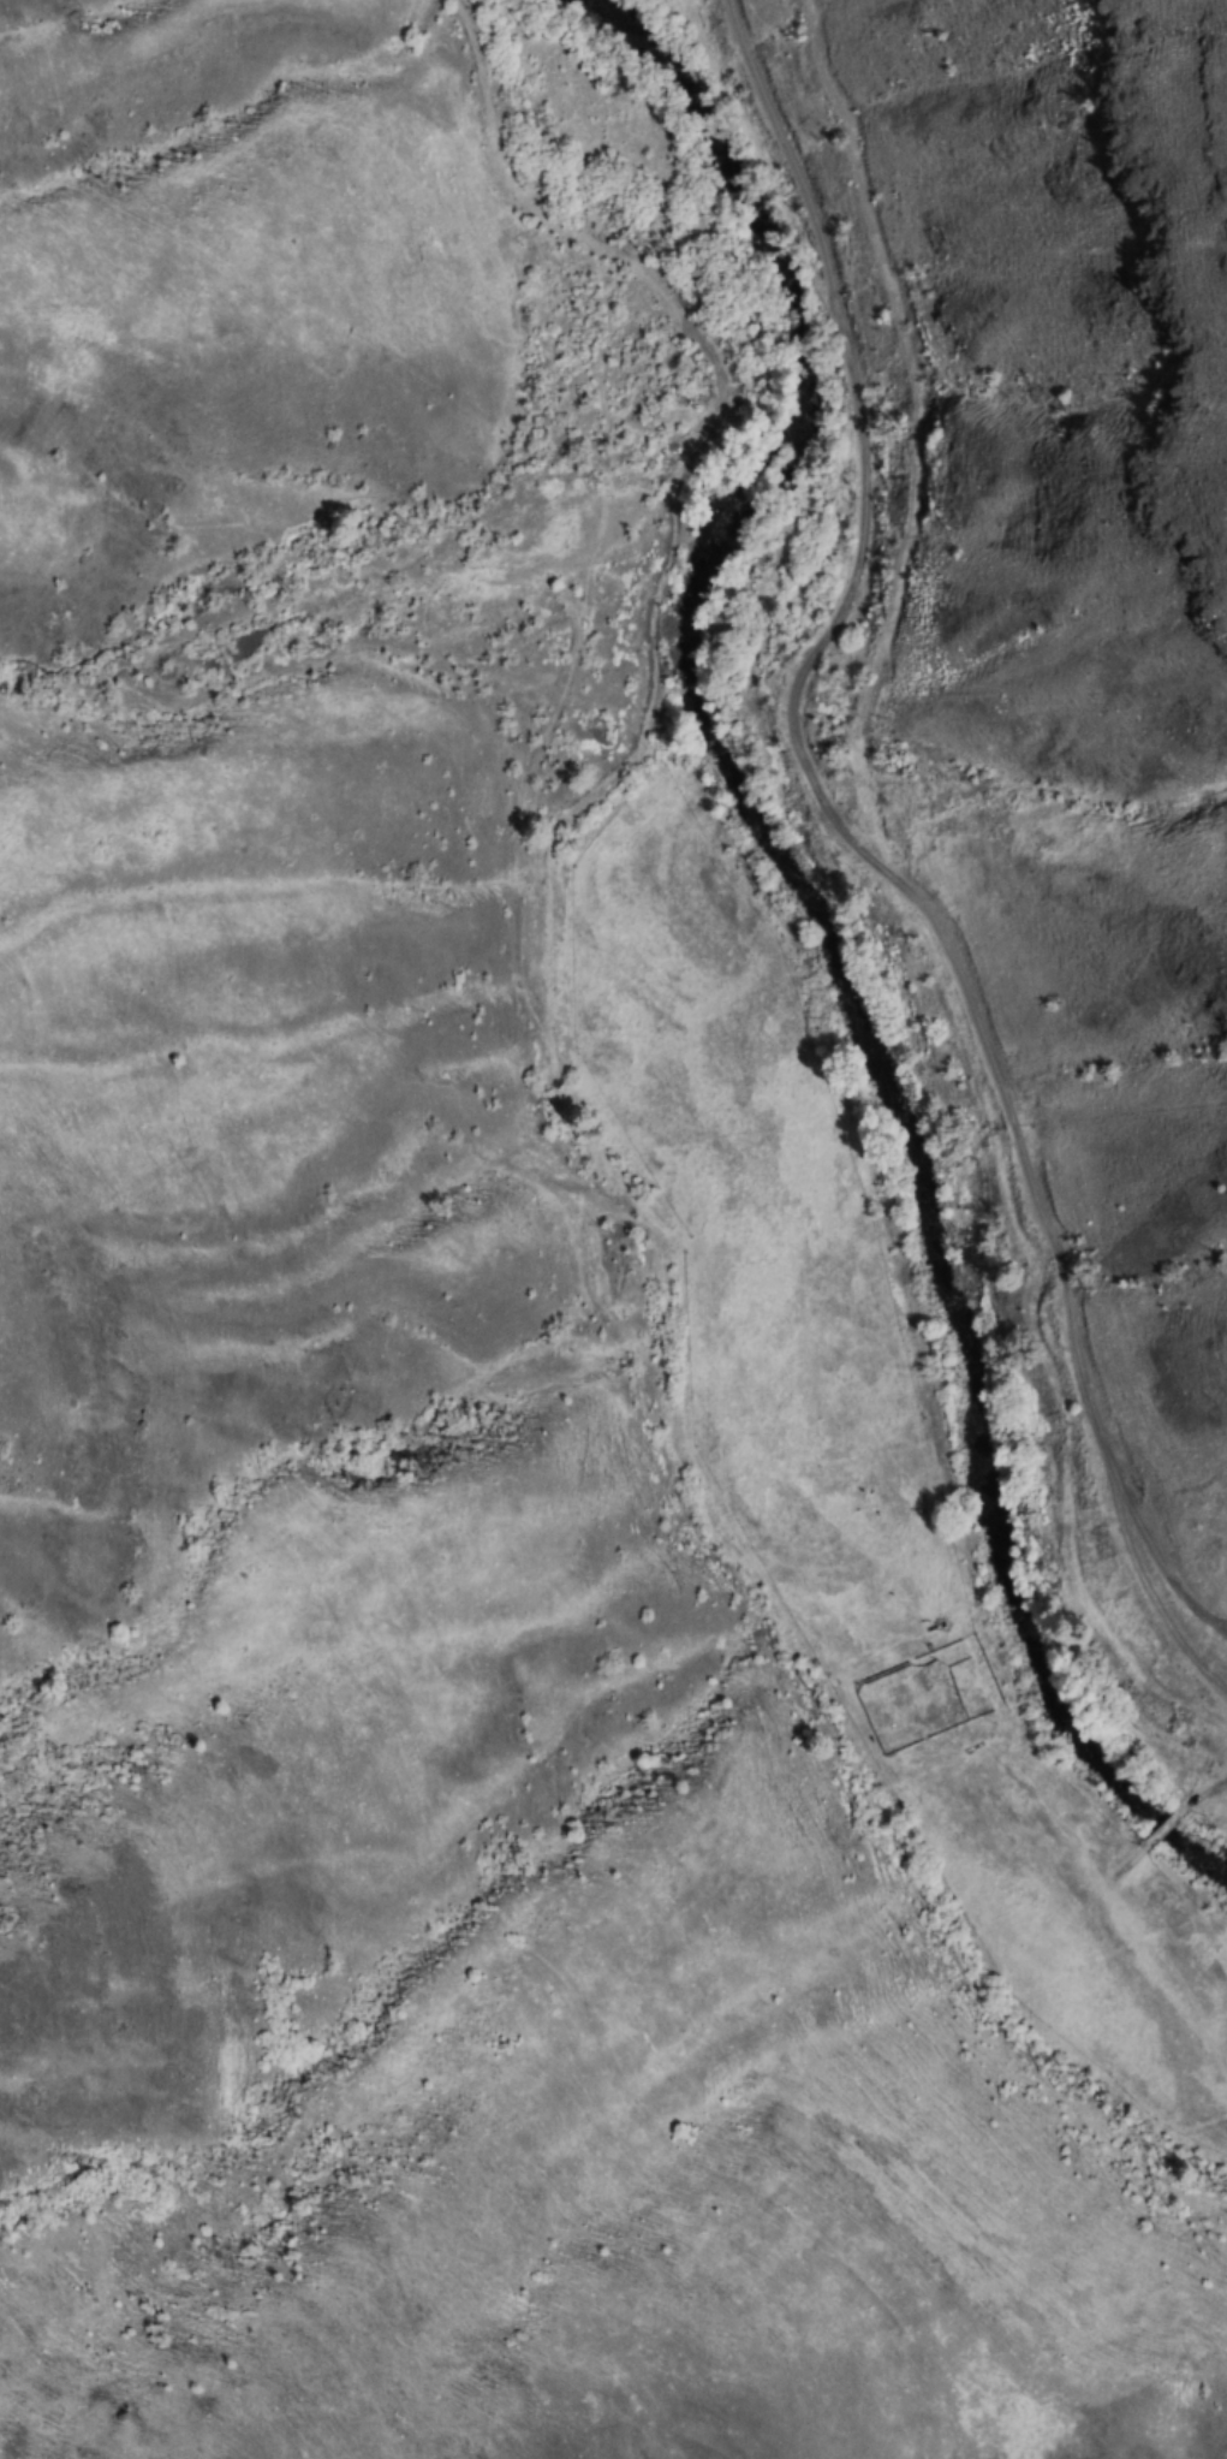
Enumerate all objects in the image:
road: (852, 806)

